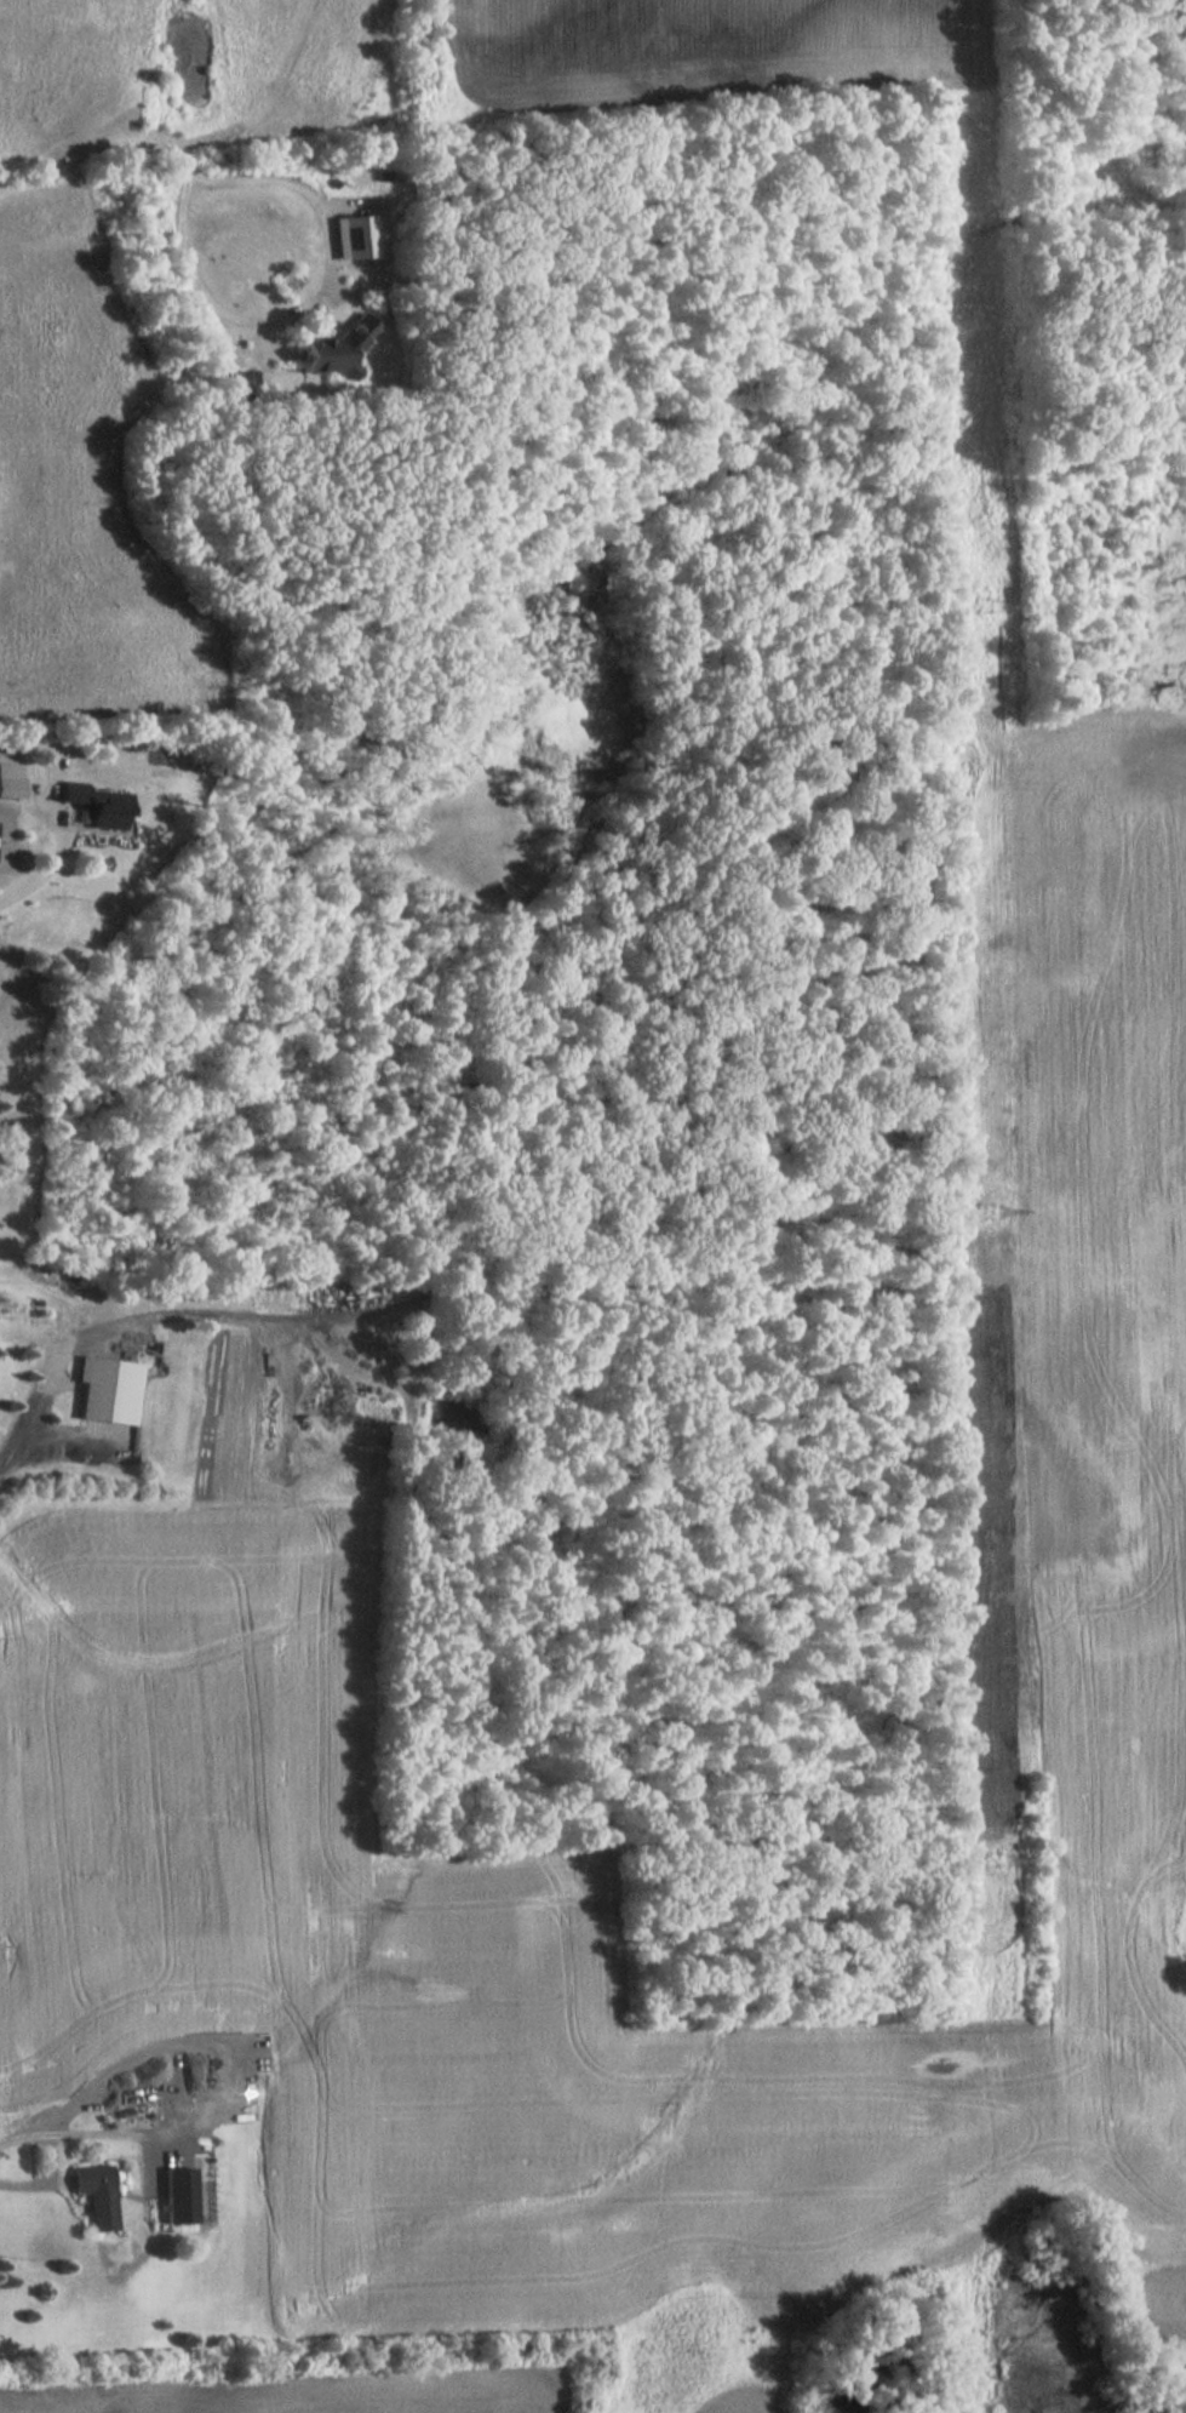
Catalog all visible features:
road: (101, 142)
road: (303, 304)
power tower: (985, 608)
building: (11, 782)
building: (99, 805)
road: (58, 884)
power tower: (993, 1212)
building: (110, 1389)
road: (15, 1451)
power tower: (1002, 1858)
road: (81, 2133)
road: (45, 2177)
building: (97, 2195)
building: (179, 2195)

